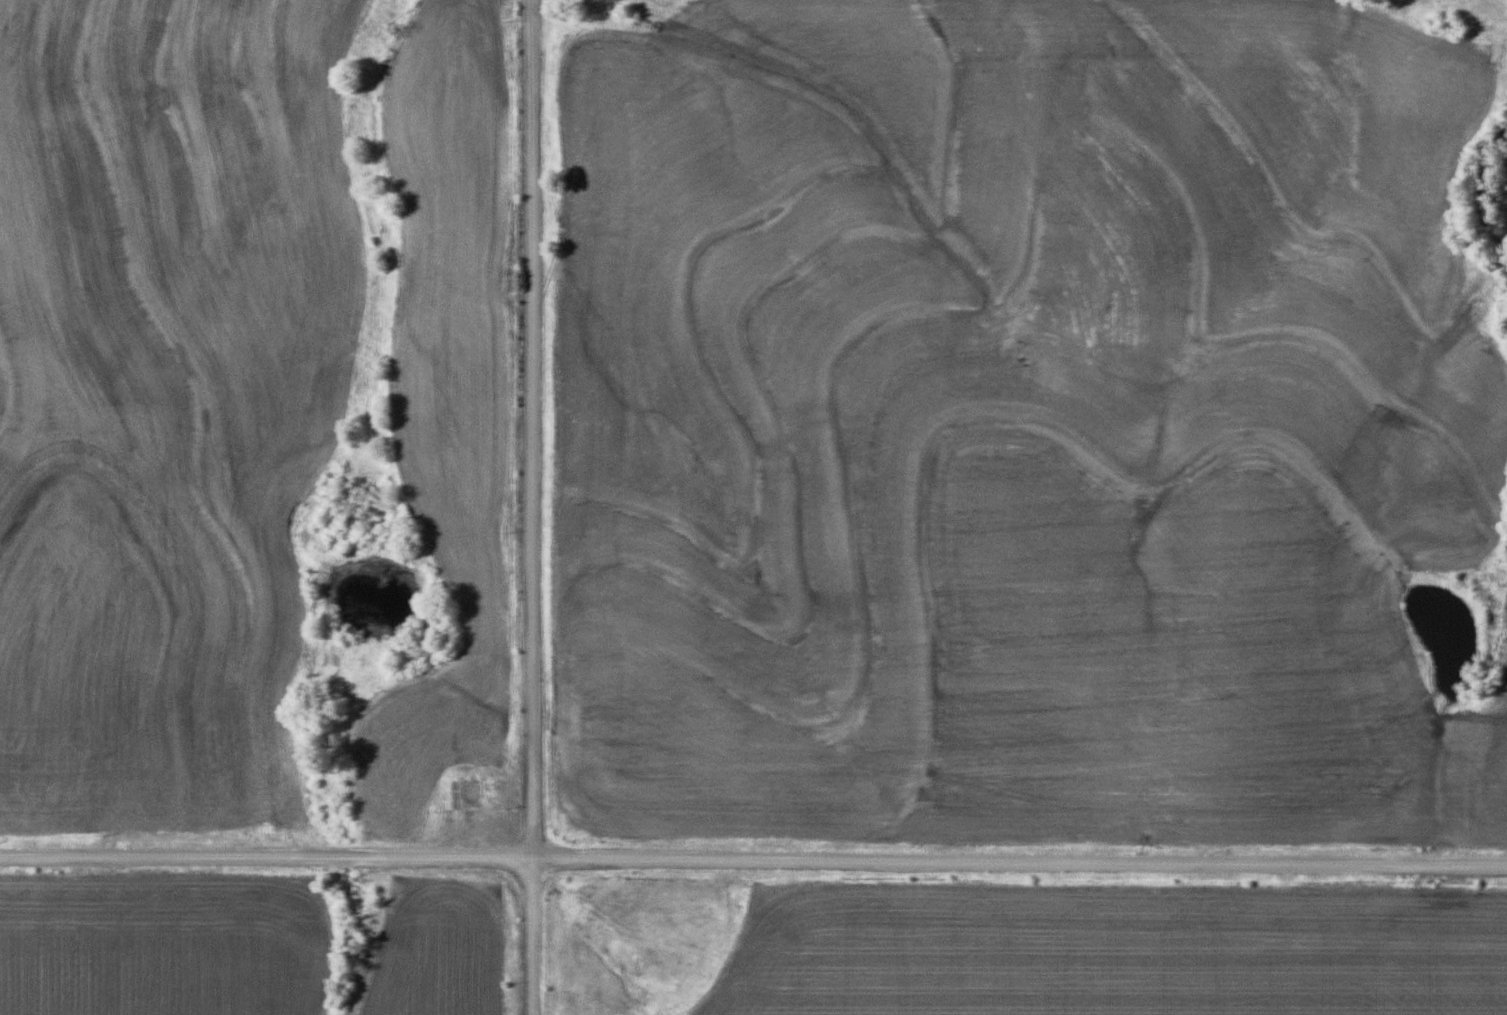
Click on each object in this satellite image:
road: (529, 507)
road: (753, 861)

